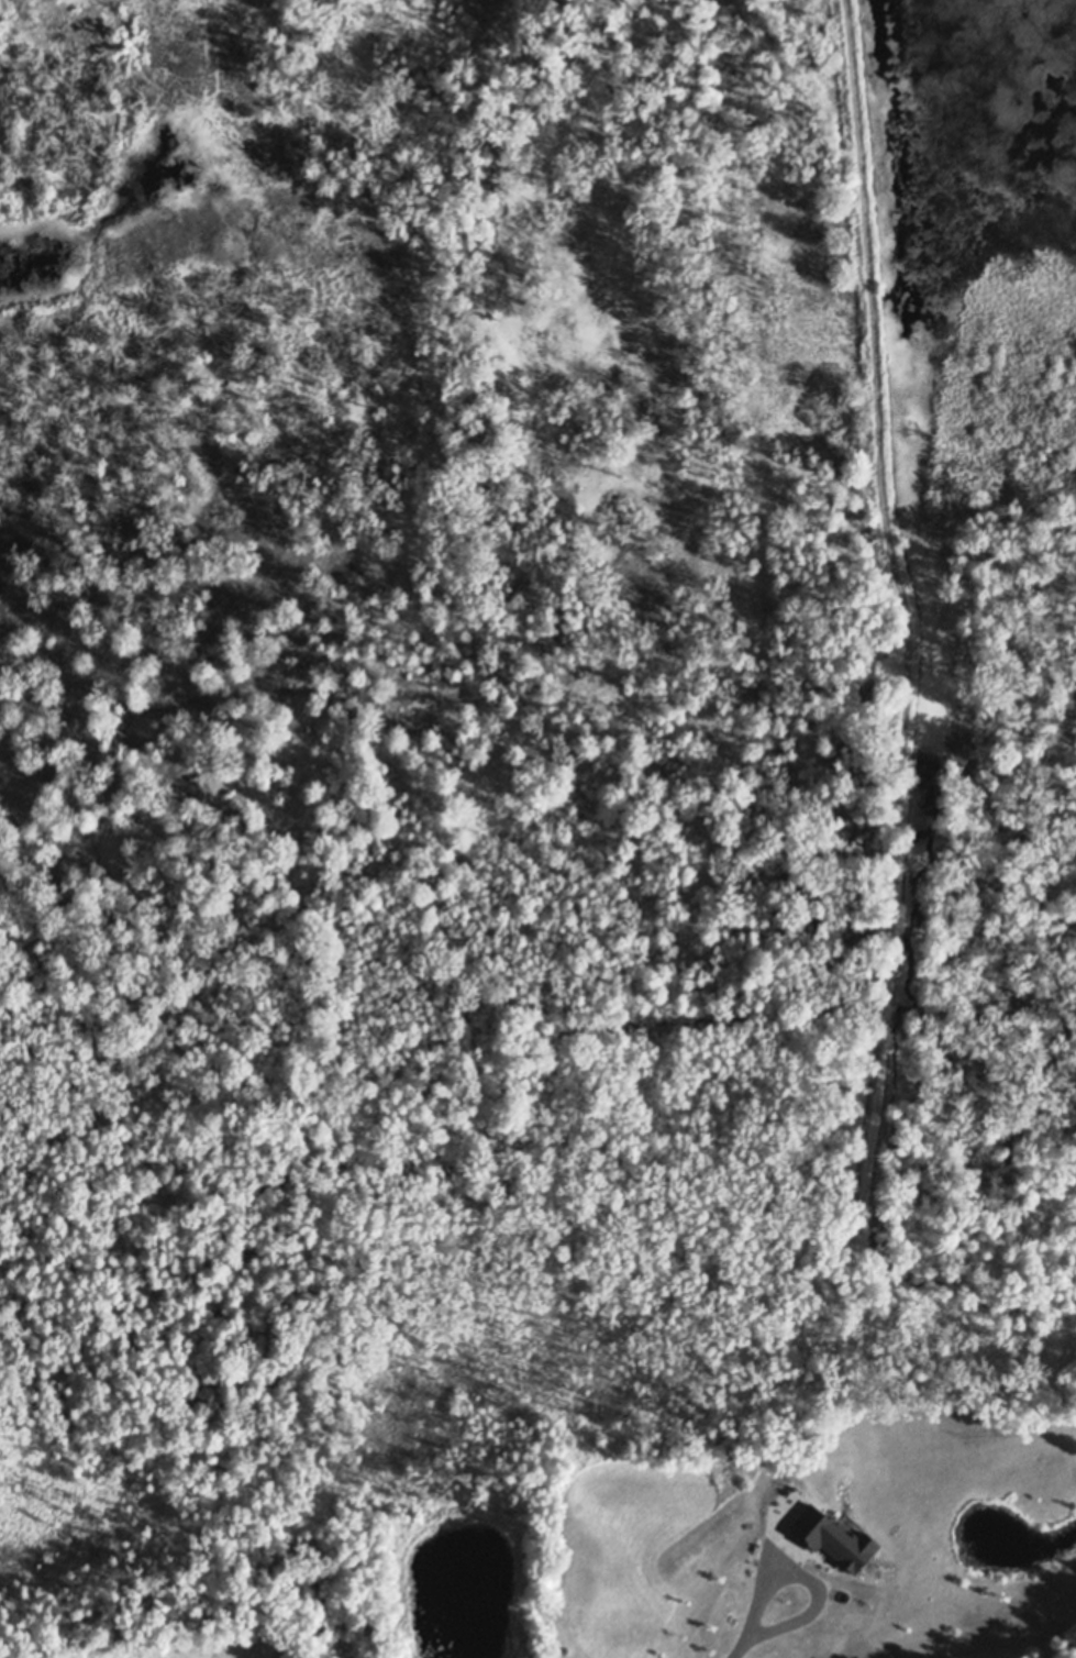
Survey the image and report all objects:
building: (837, 1250)
building: (833, 1532)
road: (806, 1577)
road: (991, 1643)
road: (735, 1645)

